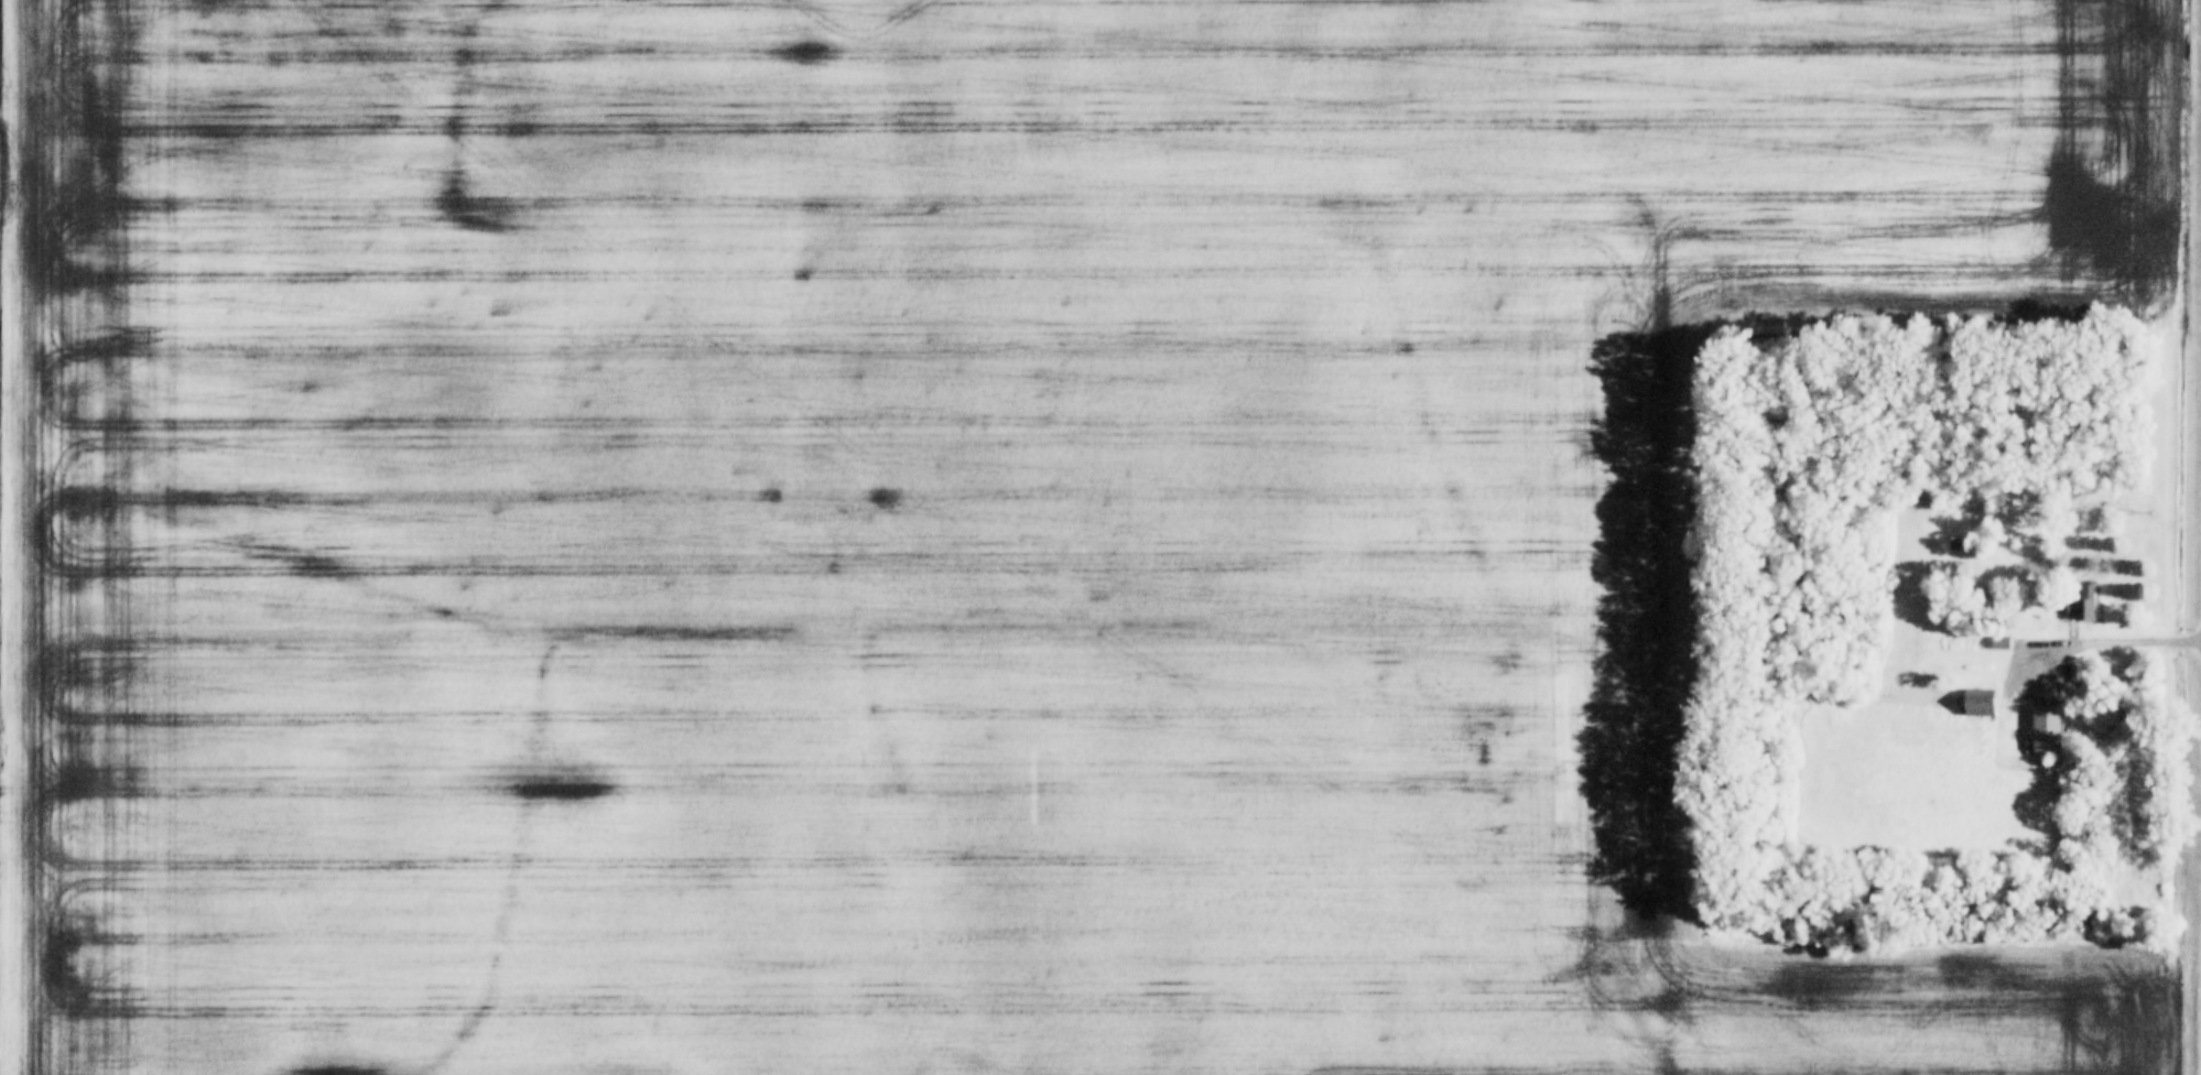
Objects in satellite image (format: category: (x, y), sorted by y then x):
road: (2134, 640)
road: (2014, 684)
building: (1981, 701)

